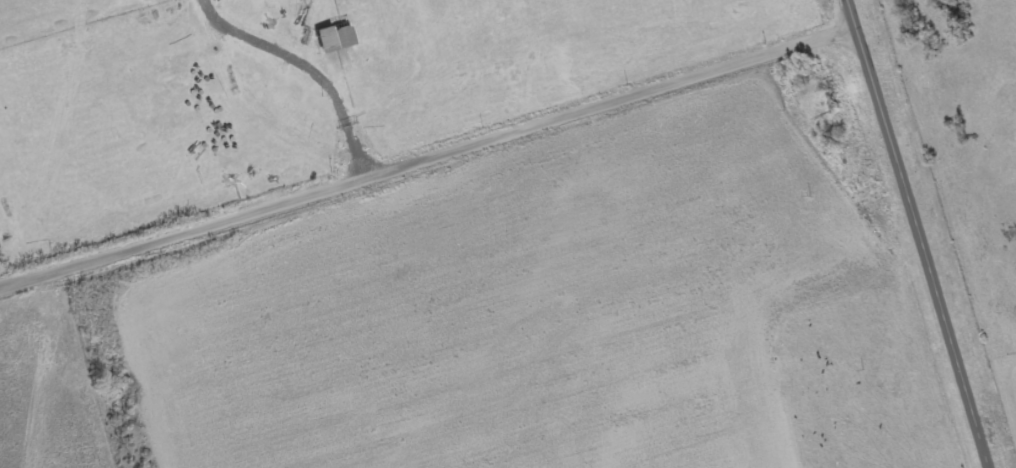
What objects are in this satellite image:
road: (714, 70)
road: (285, 197)
road: (918, 233)

